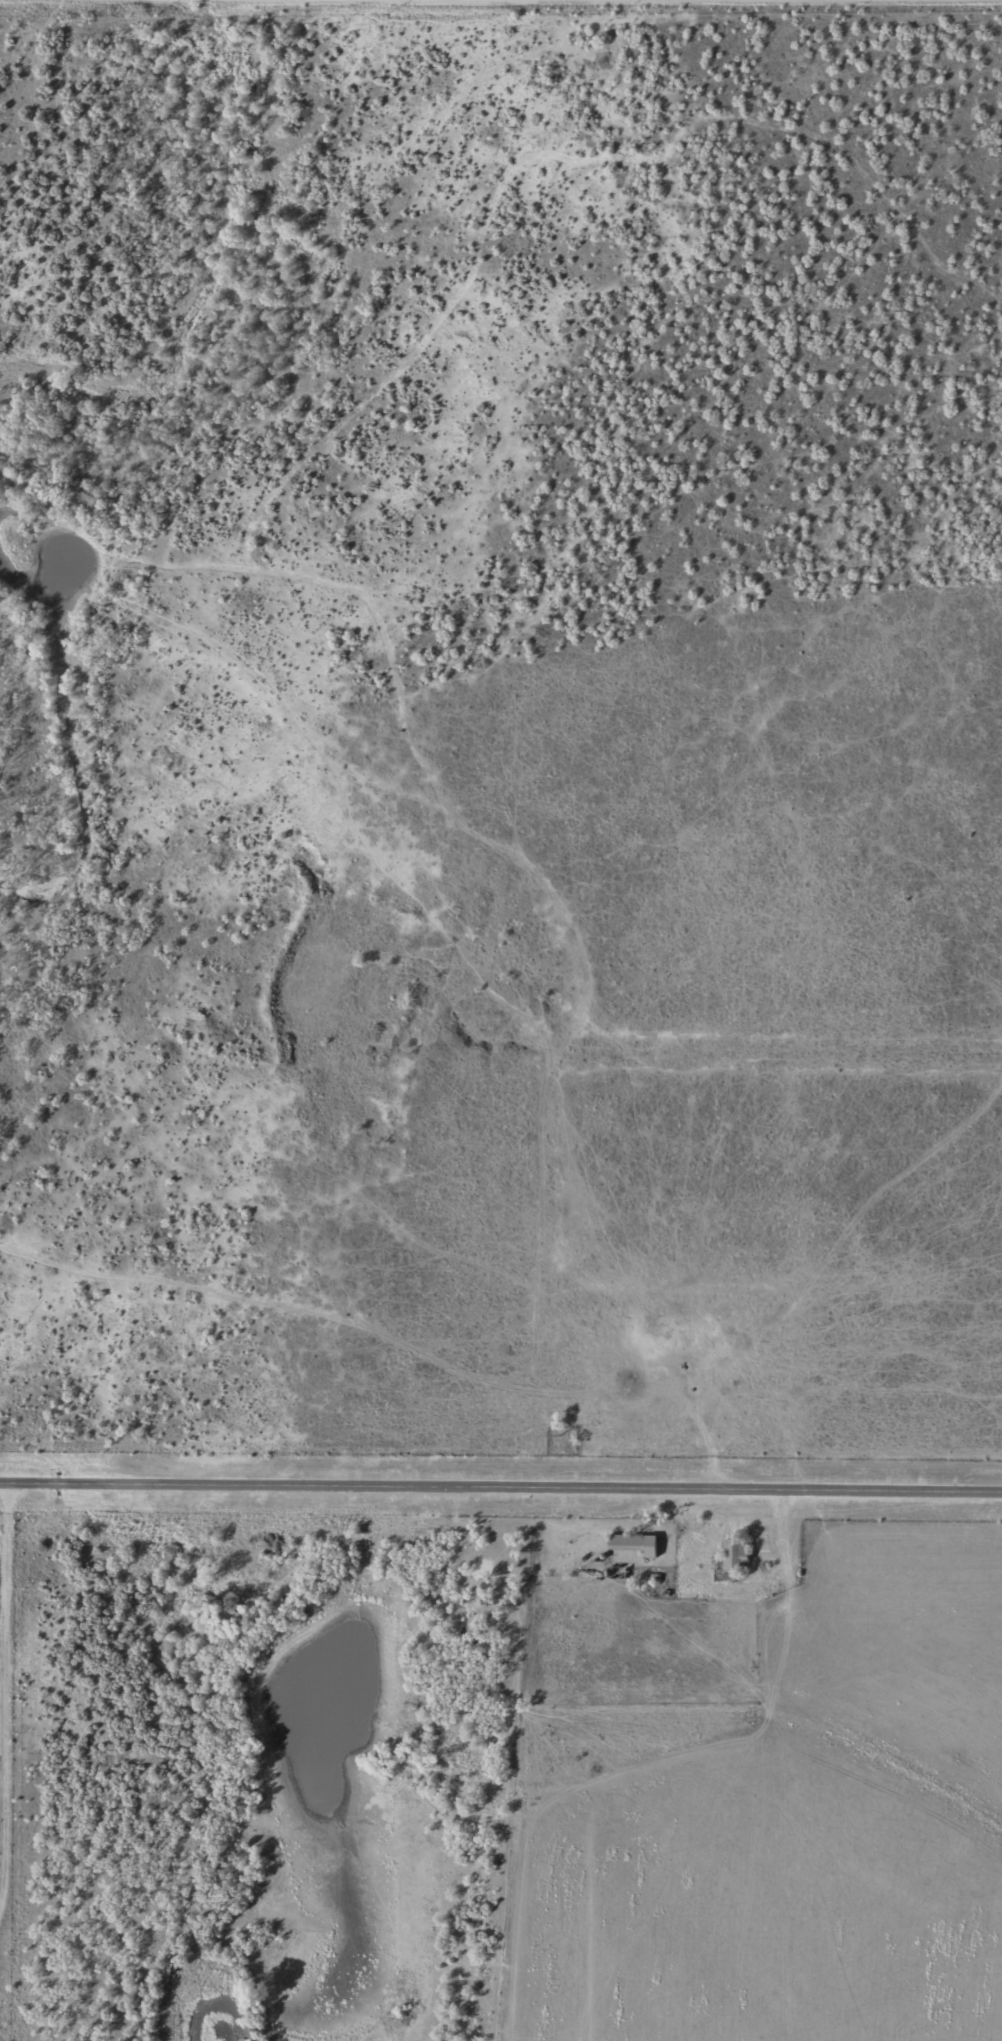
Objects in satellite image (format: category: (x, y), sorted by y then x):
road: (506, 6)
road: (501, 1485)
building: (644, 1547)
building: (727, 1558)
road: (22, 1730)

